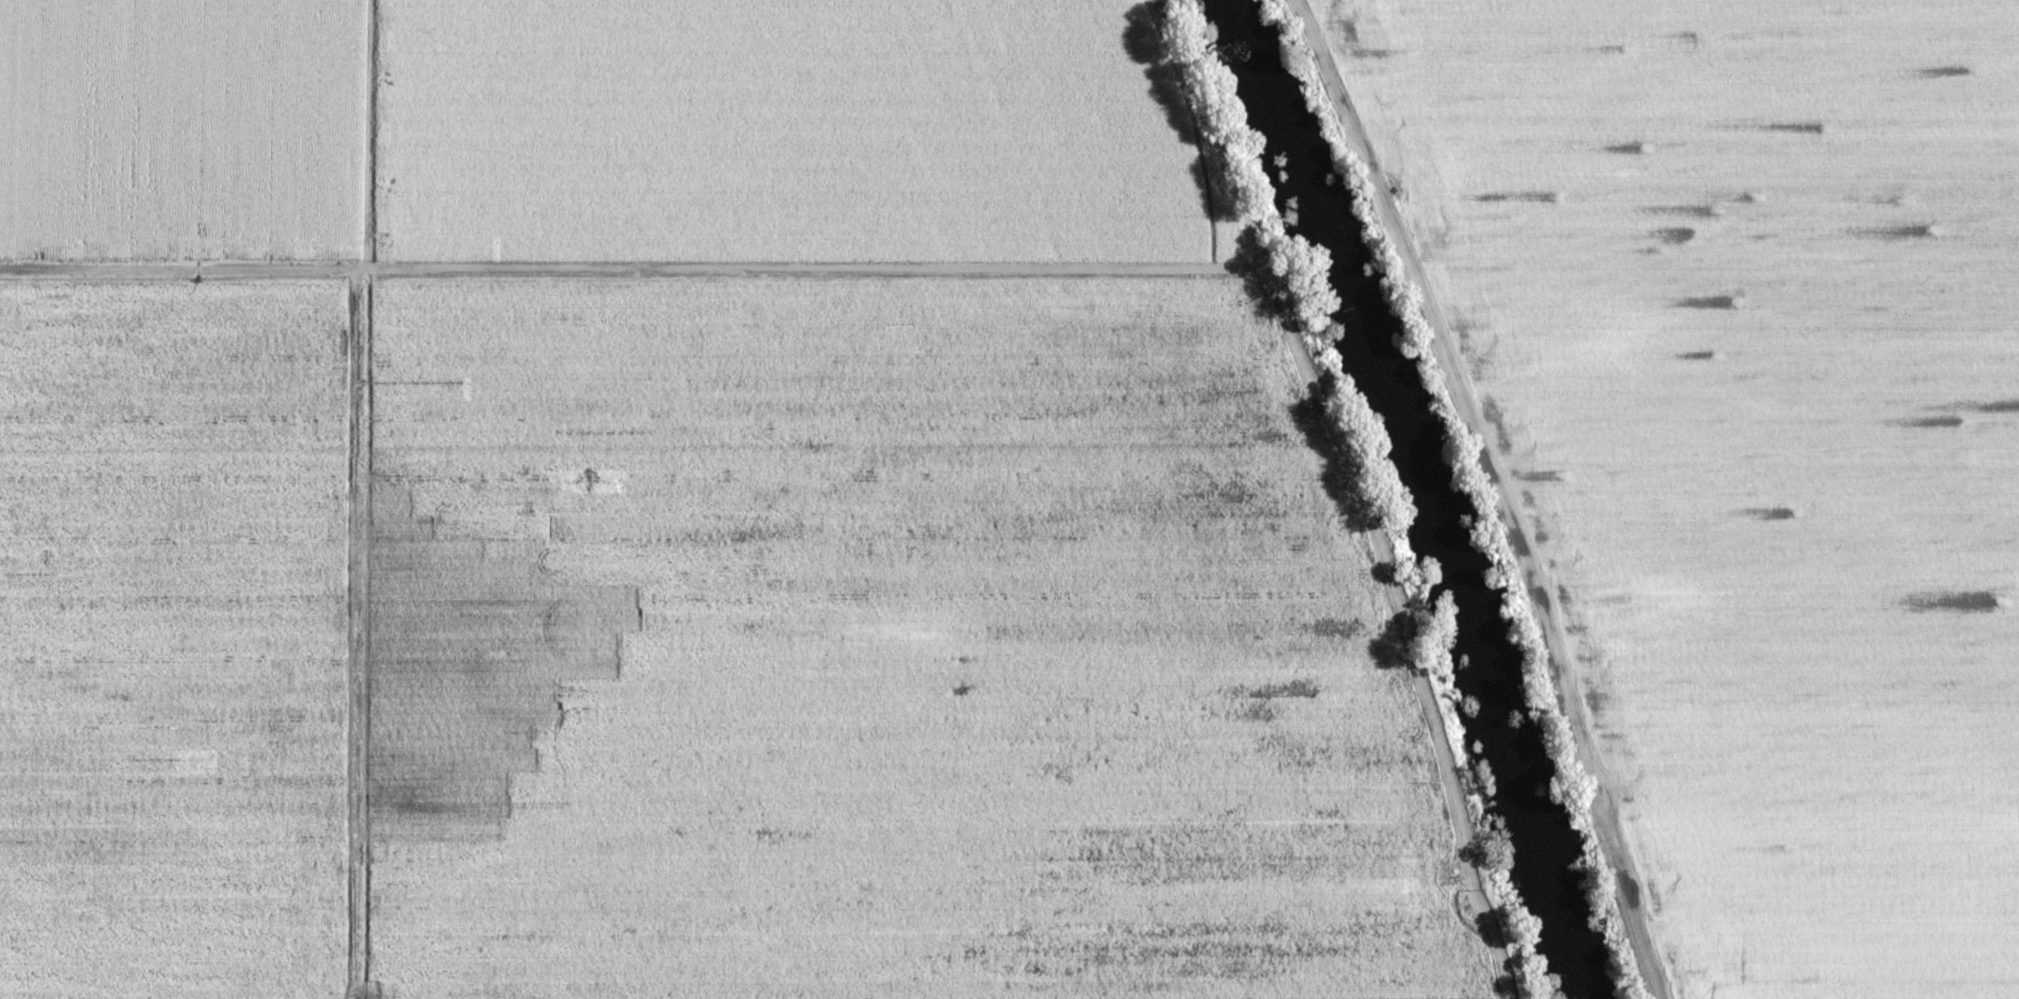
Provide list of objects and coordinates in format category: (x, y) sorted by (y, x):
road: (366, 134)
road: (614, 266)
road: (1503, 489)
river: (1420, 492)

